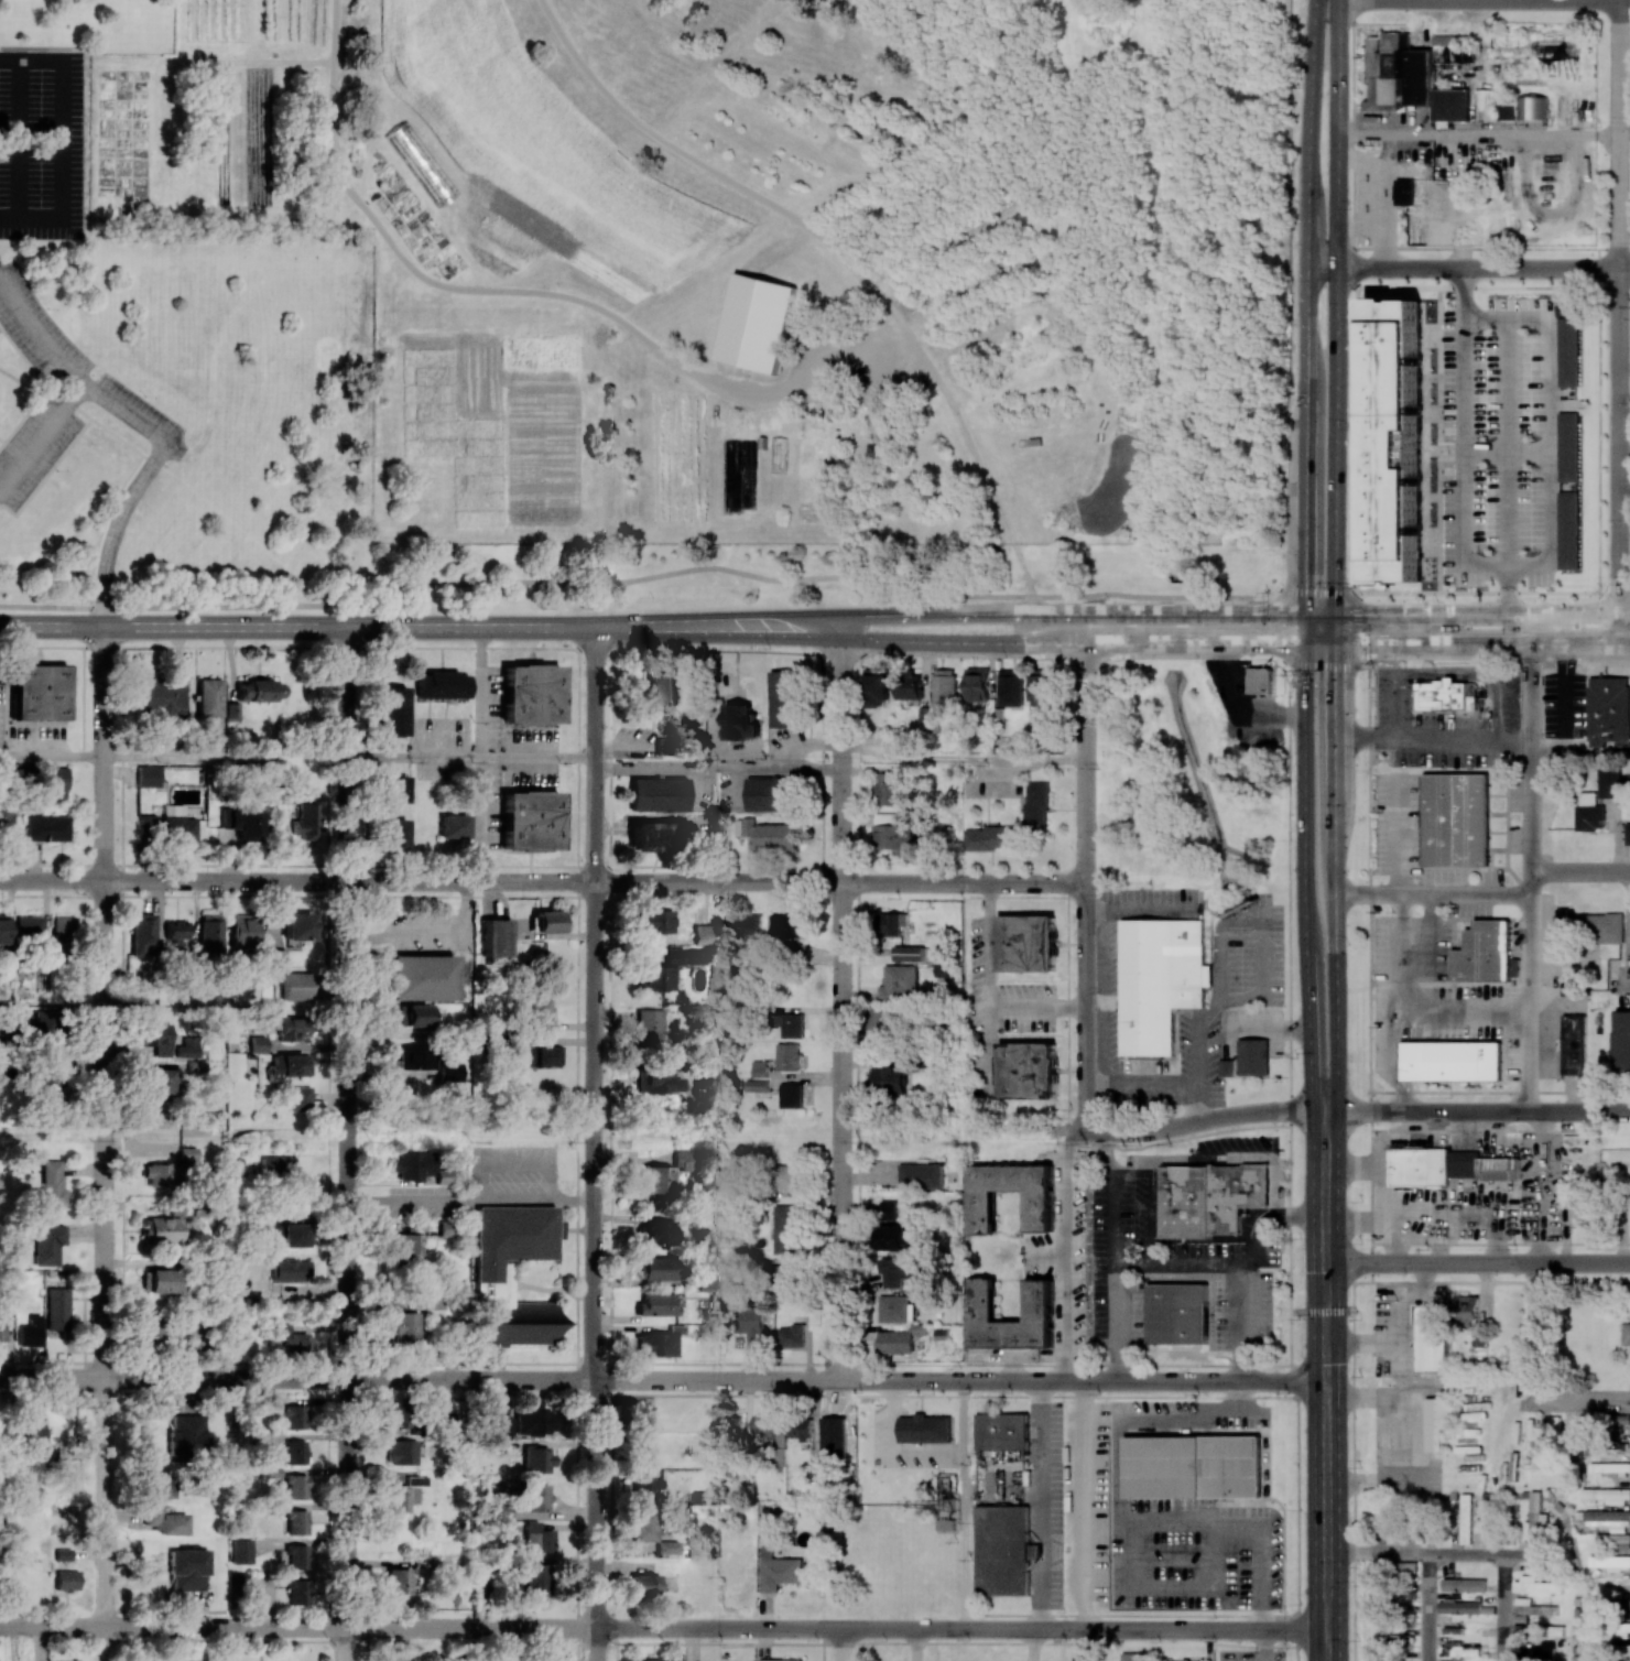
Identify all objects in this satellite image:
road: (1485, 0)
crop: (257, 26)
building: (1555, 47)
building: (1434, 89)
building: (1372, 102)
crop: (822, 108)
building: (1532, 108)
building: (1507, 111)
road: (1478, 135)
road: (1624, 135)
crop: (130, 139)
road: (73, 143)
crop: (524, 156)
building: (1411, 192)
crop: (407, 217)
crop: (211, 249)
road: (1467, 269)
crop: (1236, 284)
road: (1335, 306)
road: (1618, 306)
road: (1305, 322)
building: (756, 323)
building: (1568, 352)
building: (841, 354)
road: (67, 374)
road: (768, 393)
building: (877, 414)
crop: (569, 433)
road: (1465, 434)
road: (41, 441)
building: (1568, 446)
road: (1504, 448)
building: (778, 455)
building: (747, 463)
road: (116, 526)
building: (1568, 530)
road: (815, 577)
traffic signals: (1305, 582)
road: (963, 612)
traffic signals: (1367, 614)
road: (1481, 614)
road: (296, 626)
road: (1334, 629)
road: (948, 641)
road: (1481, 644)
traffic signals: (1276, 645)
road: (1319, 645)
road: (817, 654)
traffic signals: (1335, 676)
building: (1260, 681)
building: (441, 684)
building: (977, 684)
building: (908, 686)
building: (944, 687)
building: (1011, 687)
building: (1042, 687)
building: (662, 688)
building: (877, 688)
building: (259, 690)
building: (39, 691)
road: (479, 692)
road: (1395, 693)
building: (530, 694)
building: (1445, 695)
building: (162, 696)
building: (209, 696)
road: (1571, 698)
building: (784, 699)
road: (1239, 709)
building: (1608, 709)
building: (232, 710)
building: (393, 710)
building: (741, 721)
road: (1432, 741)
road: (1600, 752)
road: (1550, 753)
road: (52, 757)
road: (163, 757)
road: (961, 757)
road: (412, 758)
road: (536, 758)
road: (717, 769)
building: (148, 775)
building: (54, 782)
building: (1609, 783)
park: (1184, 785)
building: (395, 789)
building: (890, 789)
building: (659, 794)
building: (769, 794)
building: (1036, 806)
building: (1589, 813)
building: (4, 819)
building: (530, 819)
building: (1456, 819)
road: (479, 821)
building: (304, 822)
building: (177, 824)
building: (453, 825)
building: (46, 827)
building: (395, 832)
building: (769, 834)
building: (1627, 834)
building: (650, 836)
building: (988, 838)
road: (1402, 838)
road: (1580, 871)
road: (1531, 877)
road: (543, 882)
road: (1087, 887)
road: (1305, 893)
road: (1335, 893)
road: (1432, 894)
road: (1099, 908)
building: (548, 921)
building: (655, 921)
building: (892, 923)
building: (742, 924)
building: (786, 924)
building: (300, 925)
building: (1587, 925)
building: (3, 929)
building: (31, 929)
building: (63, 930)
building: (176, 930)
building: (142, 932)
building: (243, 932)
building: (210, 934)
building: (702, 934)
building: (497, 936)
road: (992, 942)
building: (1026, 943)
road: (1434, 951)
building: (909, 953)
building: (1484, 953)
building: (1385, 954)
building: (275, 957)
building: (662, 971)
building: (420, 977)
road: (1400, 979)
building: (1159, 980)
building: (899, 981)
road: (1626, 985)
building: (295, 986)
road: (1111, 994)
road: (840, 998)
road: (1040, 1005)
building: (540, 1008)
road: (1455, 1011)
building: (412, 1016)
building: (879, 1020)
building: (31, 1024)
building: (790, 1024)
building: (650, 1025)
building: (292, 1028)
road: (1253, 1030)
building: (157, 1036)
building: (1622, 1041)
building: (256, 1043)
building: (1574, 1044)
building: (535, 1055)
building: (787, 1056)
building: (1253, 1056)
building: (414, 1057)
building: (1450, 1061)
road: (1202, 1062)
building: (287, 1065)
building: (1226, 1067)
building: (759, 1068)
building: (1026, 1071)
building: (449, 1072)
building: (890, 1077)
road: (1155, 1078)
building: (658, 1079)
building: (157, 1083)
building: (757, 1085)
road: (1101, 1085)
road: (1401, 1085)
building: (792, 1095)
building: (298, 1098)
road: (1197, 1101)
road: (1484, 1111)
road: (1198, 1121)
road: (703, 1131)
road: (104, 1139)
road: (346, 1142)
road: (595, 1143)
building: (187, 1153)
road: (1247, 1158)
building: (684, 1160)
building: (276, 1165)
building: (411, 1165)
building: (1419, 1166)
building: (1481, 1166)
building: (160, 1173)
building: (443, 1175)
building: (785, 1176)
building: (921, 1176)
building: (656, 1179)
building: (48, 1184)
building: (1210, 1197)
road: (469, 1199)
building: (888, 1209)
building: (1039, 1211)
building: (1580, 1213)
building: (161, 1229)
building: (786, 1229)
building: (658, 1231)
building: (295, 1235)
building: (895, 1237)
building: (47, 1244)
building: (510, 1246)
building: (410, 1248)
road: (1047, 1253)
road: (1112, 1256)
road: (1066, 1257)
road: (1478, 1262)
road: (1216, 1266)
building: (659, 1268)
building: (290, 1270)
building: (785, 1271)
building: (898, 1271)
building: (163, 1280)
building: (705, 1281)
building: (980, 1301)
building: (656, 1304)
building: (57, 1307)
building: (892, 1309)
building: (1469, 1311)
building: (1176, 1313)
traffic signals: (1314, 1313)
road: (1322, 1313)
traffic signals: (1326, 1313)
road: (1397, 1321)
building: (752, 1323)
road: (1242, 1324)
building: (406, 1326)
building: (523, 1326)
building: (2, 1328)
road: (1534, 1331)
building: (30, 1332)
building: (1626, 1333)
building: (159, 1334)
building: (794, 1336)
building: (1431, 1339)
building: (295, 1340)
building: (656, 1342)
building: (894, 1342)
road: (663, 1380)
road: (896, 1393)
road: (1327, 1400)
road: (1569, 1400)
building: (398, 1414)
building: (295, 1416)
building: (644, 1418)
road: (1142, 1419)
building: (533, 1420)
building: (1438, 1421)
building: (765, 1424)
building: (506, 1425)
road: (894, 1427)
building: (924, 1429)
building: (1001, 1431)
building: (798, 1432)
building: (1576, 1432)
building: (187, 1434)
road: (1409, 1436)
building: (40, 1437)
building: (403, 1451)
building: (296, 1452)
building: (644, 1453)
road: (928, 1453)
building: (537, 1458)
building: (1193, 1466)
building: (1609, 1467)
building: (160, 1486)
building: (296, 1486)
building: (645, 1487)
building: (404, 1494)
building: (1607, 1495)
building: (535, 1497)
road: (965, 1505)
road: (1043, 1505)
building: (1607, 1518)
building: (1466, 1519)
building: (1533, 1519)
building: (165, 1520)
road: (1082, 1520)
building: (296, 1521)
building: (644, 1524)
road: (1151, 1524)
building: (536, 1538)
building: (1612, 1541)
building: (666, 1546)
building: (1001, 1550)
building: (241, 1551)
road: (1430, 1553)
building: (296, 1556)
building: (1611, 1562)
building: (778, 1566)
building: (1408, 1567)
building: (187, 1570)
building: (531, 1576)
building: (6, 1578)
building: (66, 1579)
building: (238, 1579)
building: (398, 1584)
building: (643, 1584)
building: (1464, 1584)
building: (1535, 1585)
building: (297, 1591)
building: (1594, 1604)
road: (1425, 1607)
building: (1460, 1607)
road: (1503, 1607)
building: (1532, 1607)
road: (663, 1629)
road: (183, 1641)
road: (306, 1641)
road: (841, 1644)
road: (917, 1644)
road: (1036, 1644)
road: (1263, 1646)
park: (278, 1649)
building: (1449, 1649)
road: (260, 1651)
building: (1131, 1657)
building: (655, 1659)
building: (775, 1660)
building: (1178, 1660)

